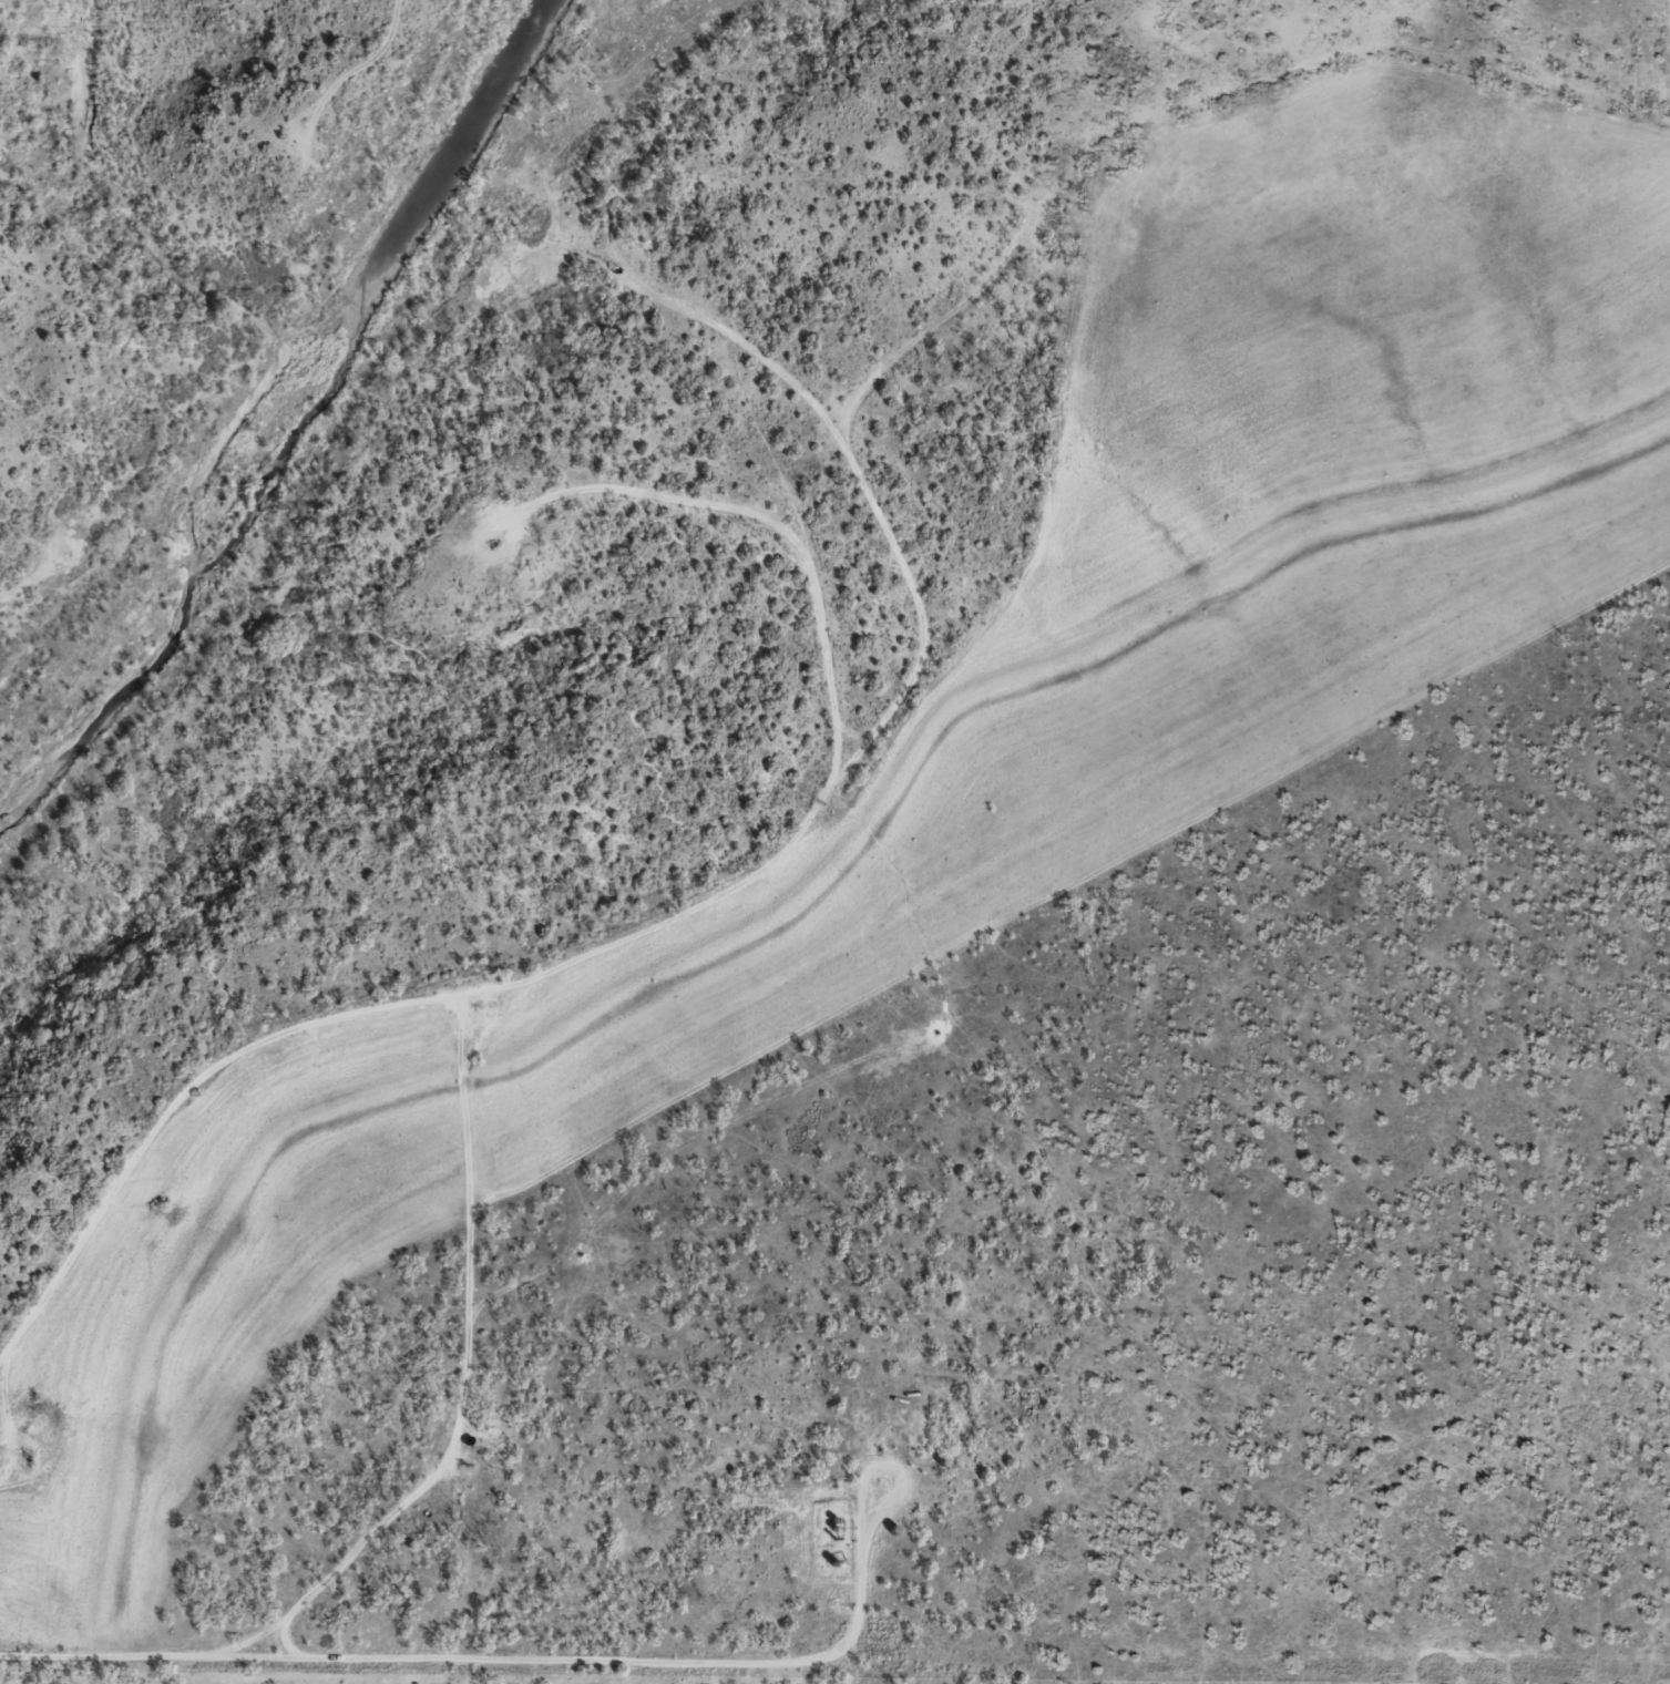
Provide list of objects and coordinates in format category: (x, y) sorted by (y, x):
road: (800, 366)
river: (257, 401)
road: (913, 685)

